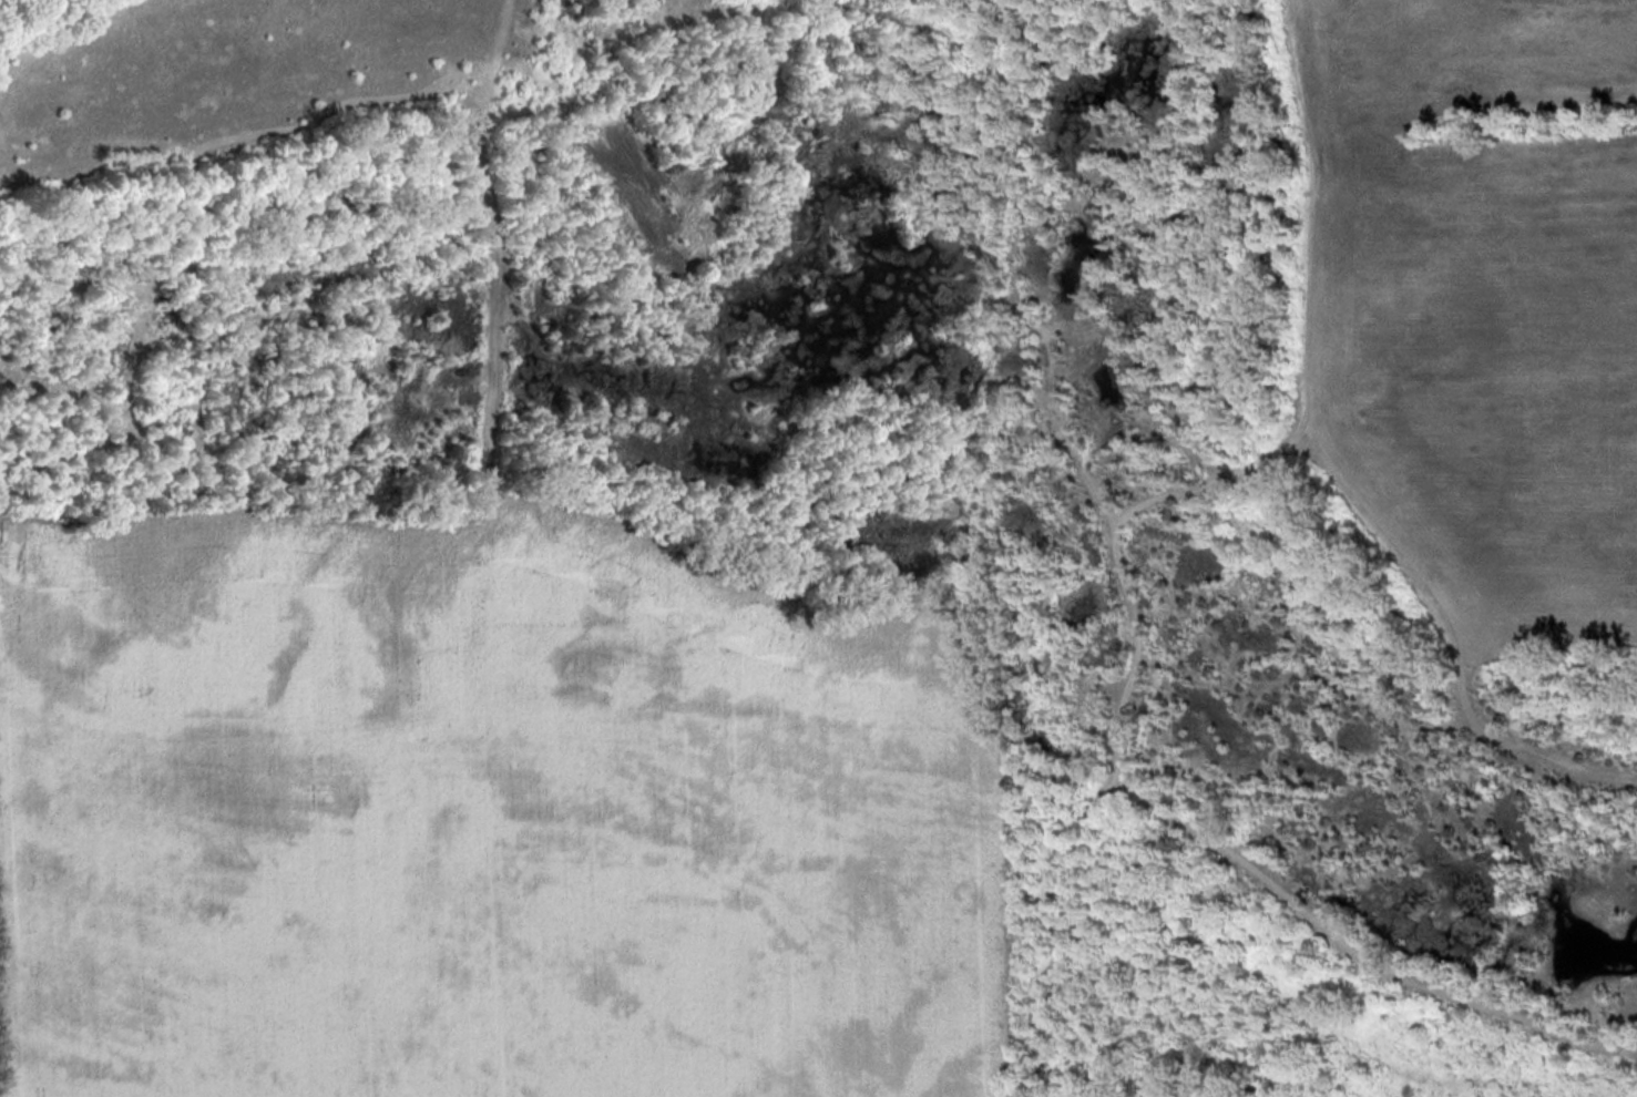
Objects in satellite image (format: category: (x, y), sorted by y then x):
road: (796, 4)
road: (68, 31)
road: (989, 132)

